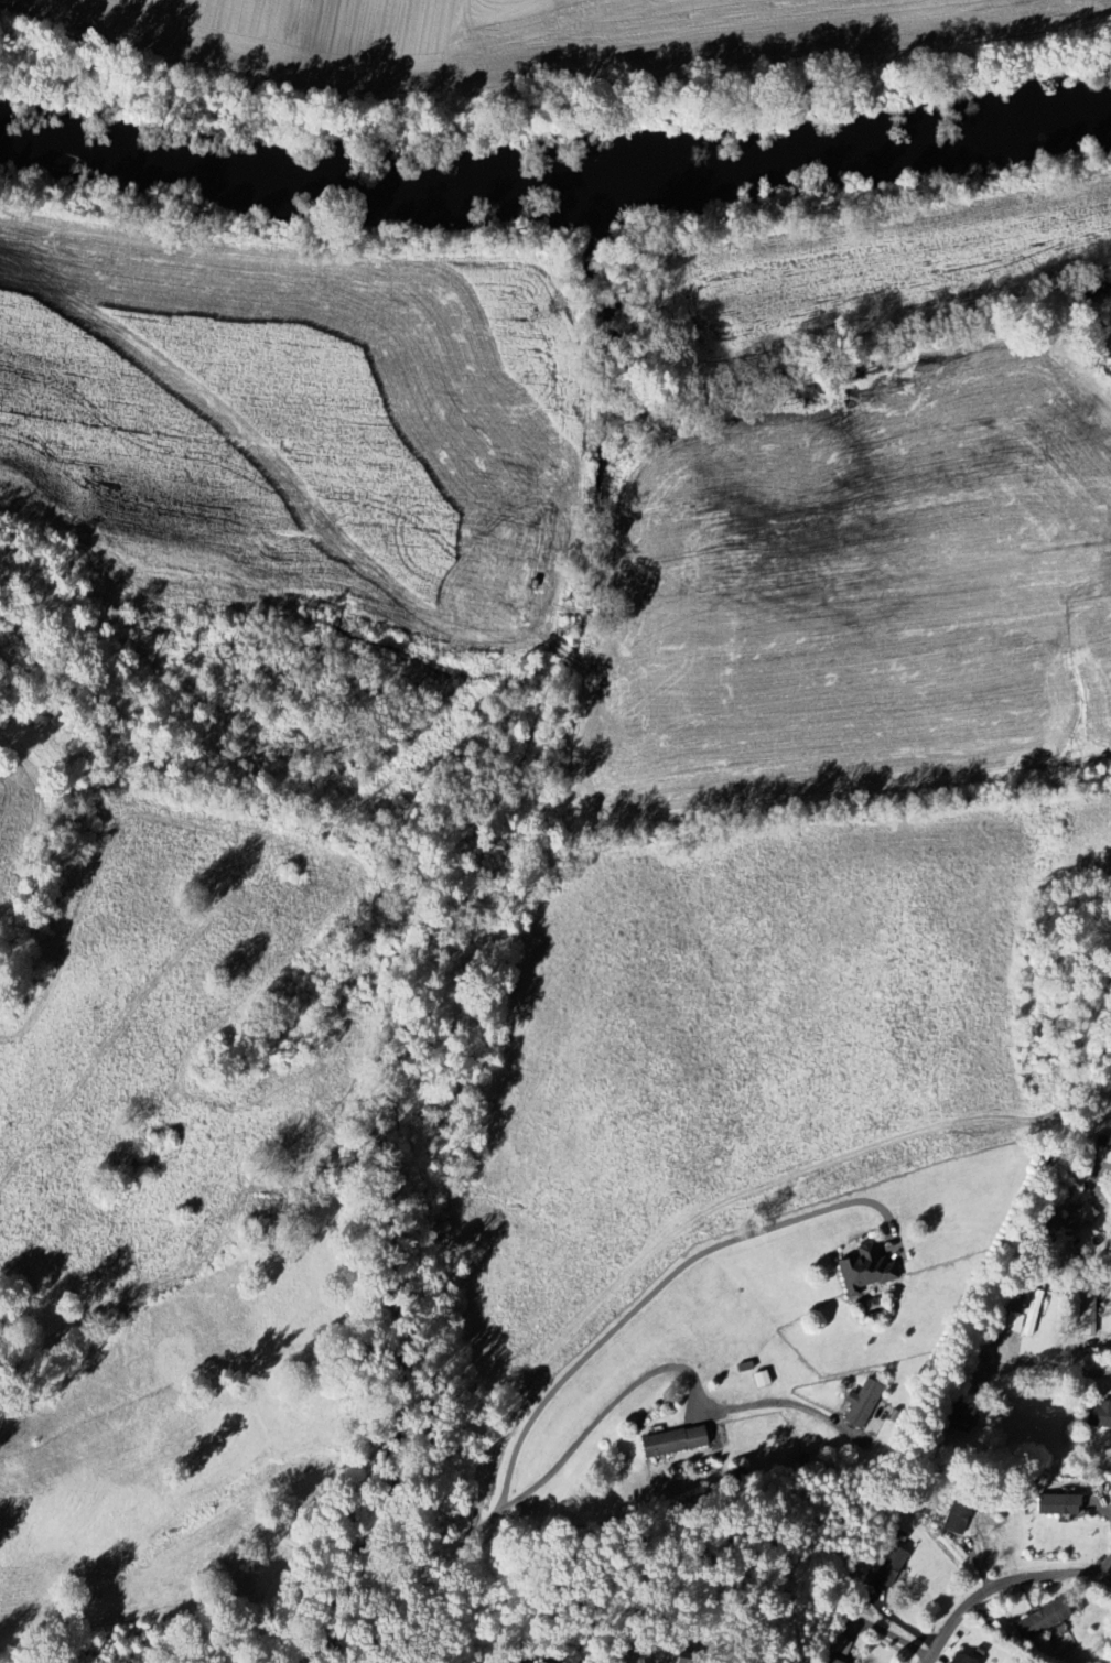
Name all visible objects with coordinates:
river: (866, 153)
river: (308, 177)
building: (1110, 1126)
building: (1072, 1222)
building: (861, 1271)
road: (658, 1287)
building: (1085, 1313)
road: (1048, 1372)
building: (860, 1405)
building: (1099, 1416)
building: (960, 1418)
road: (590, 1430)
building: (669, 1443)
building: (1054, 1505)
building: (886, 1567)
road: (1000, 1584)
building: (1042, 1620)
building: (958, 1660)
building: (827, 1661)

